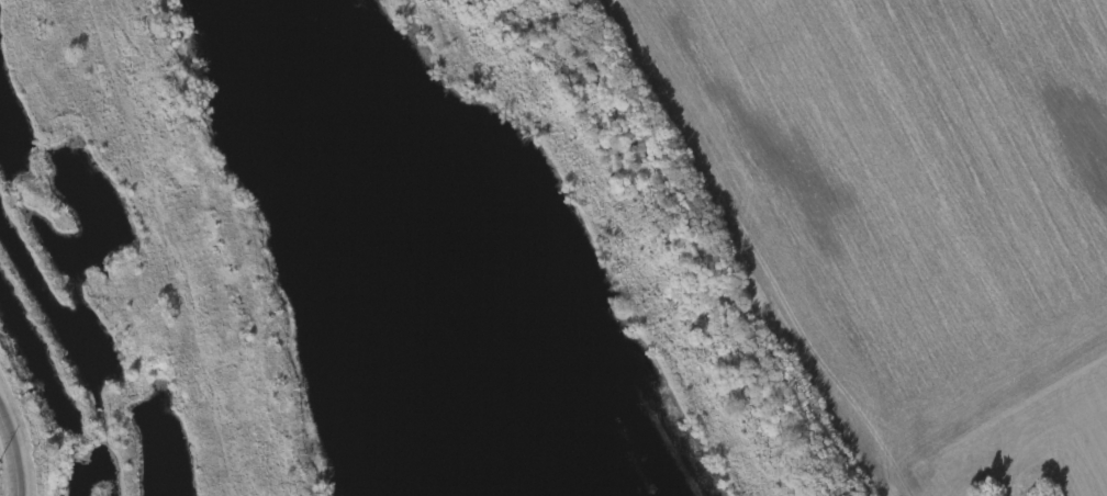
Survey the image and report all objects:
road: (16, 453)
crop: (1048, 462)
building: (81, 476)

